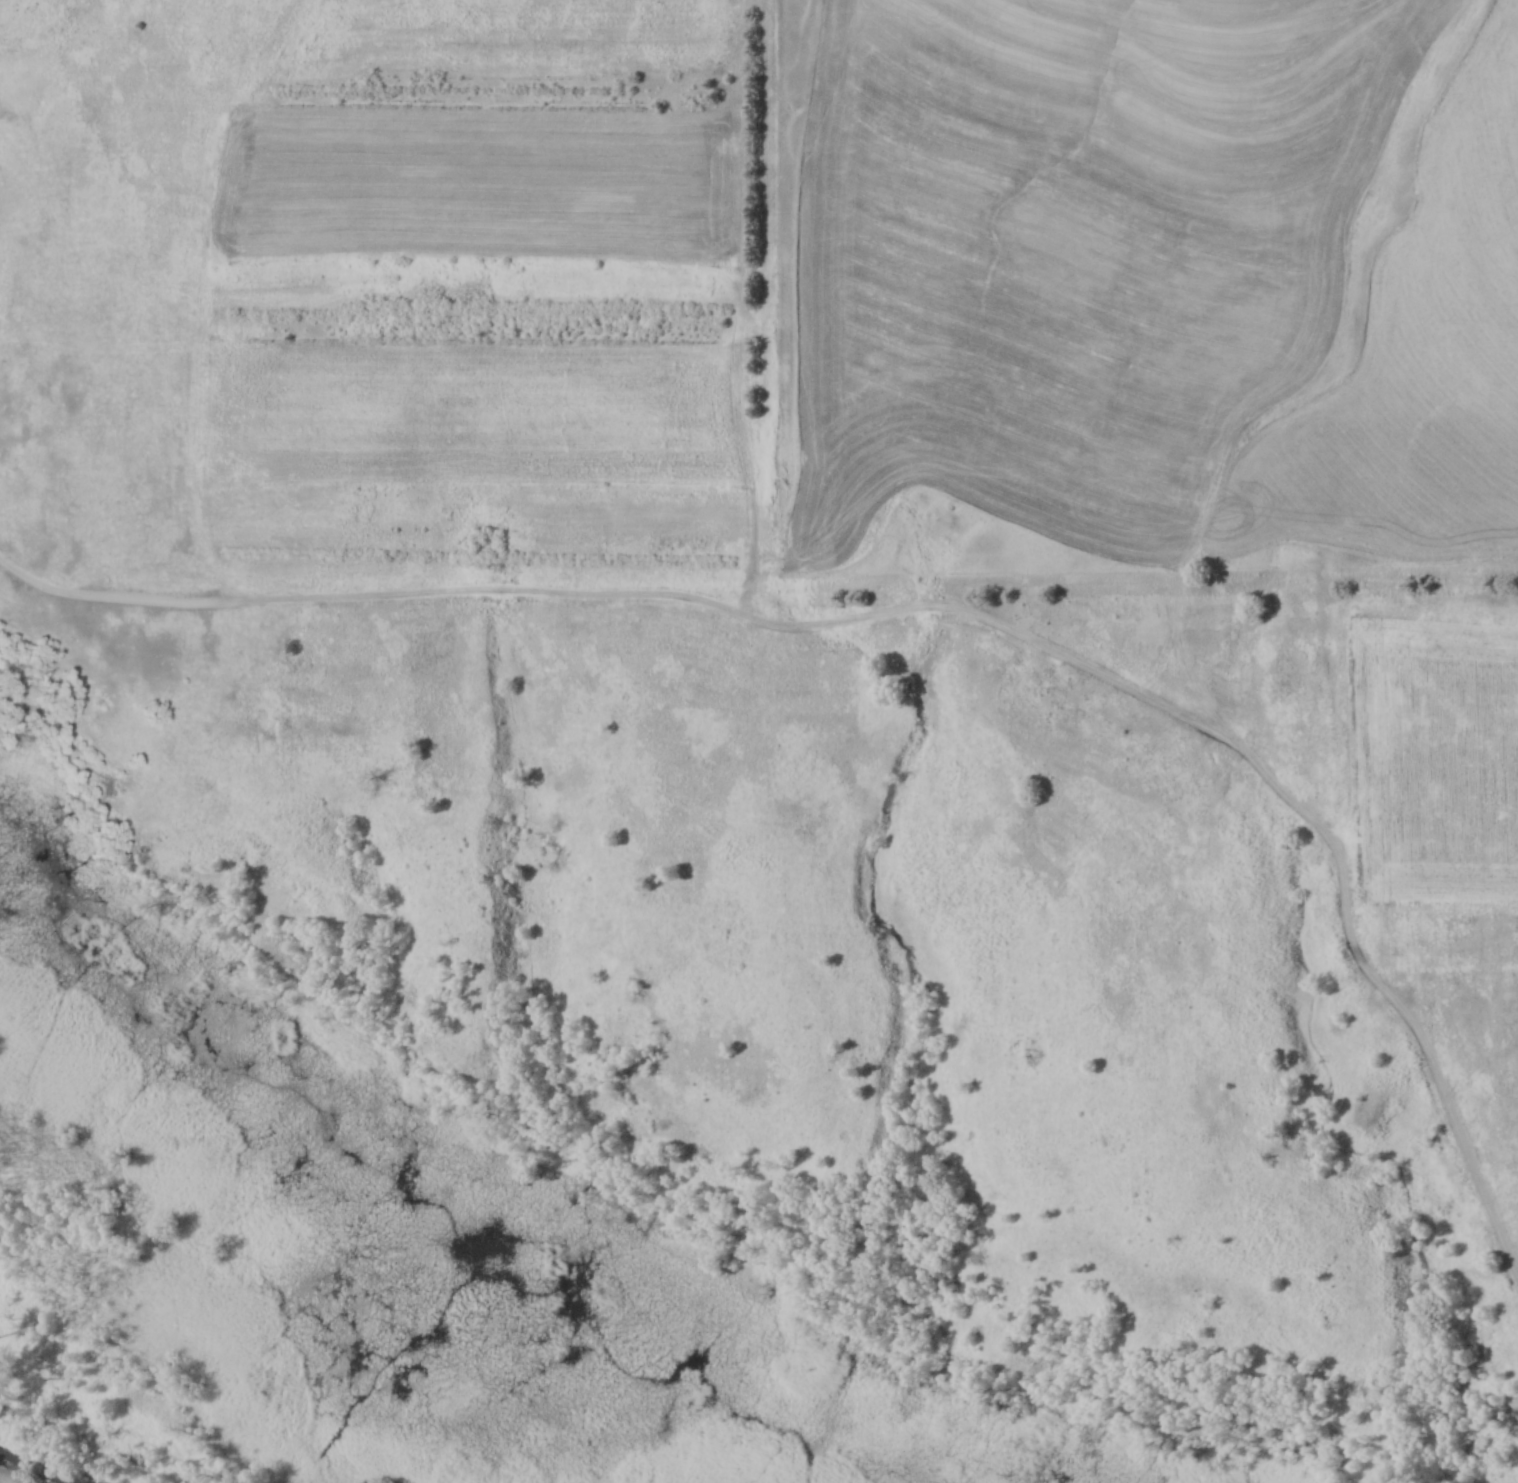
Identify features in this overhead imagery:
crop: (489, 183)
crop: (1077, 251)
crop: (1418, 355)
crop: (474, 410)
road: (928, 604)
crop: (1439, 755)
park: (668, 851)

